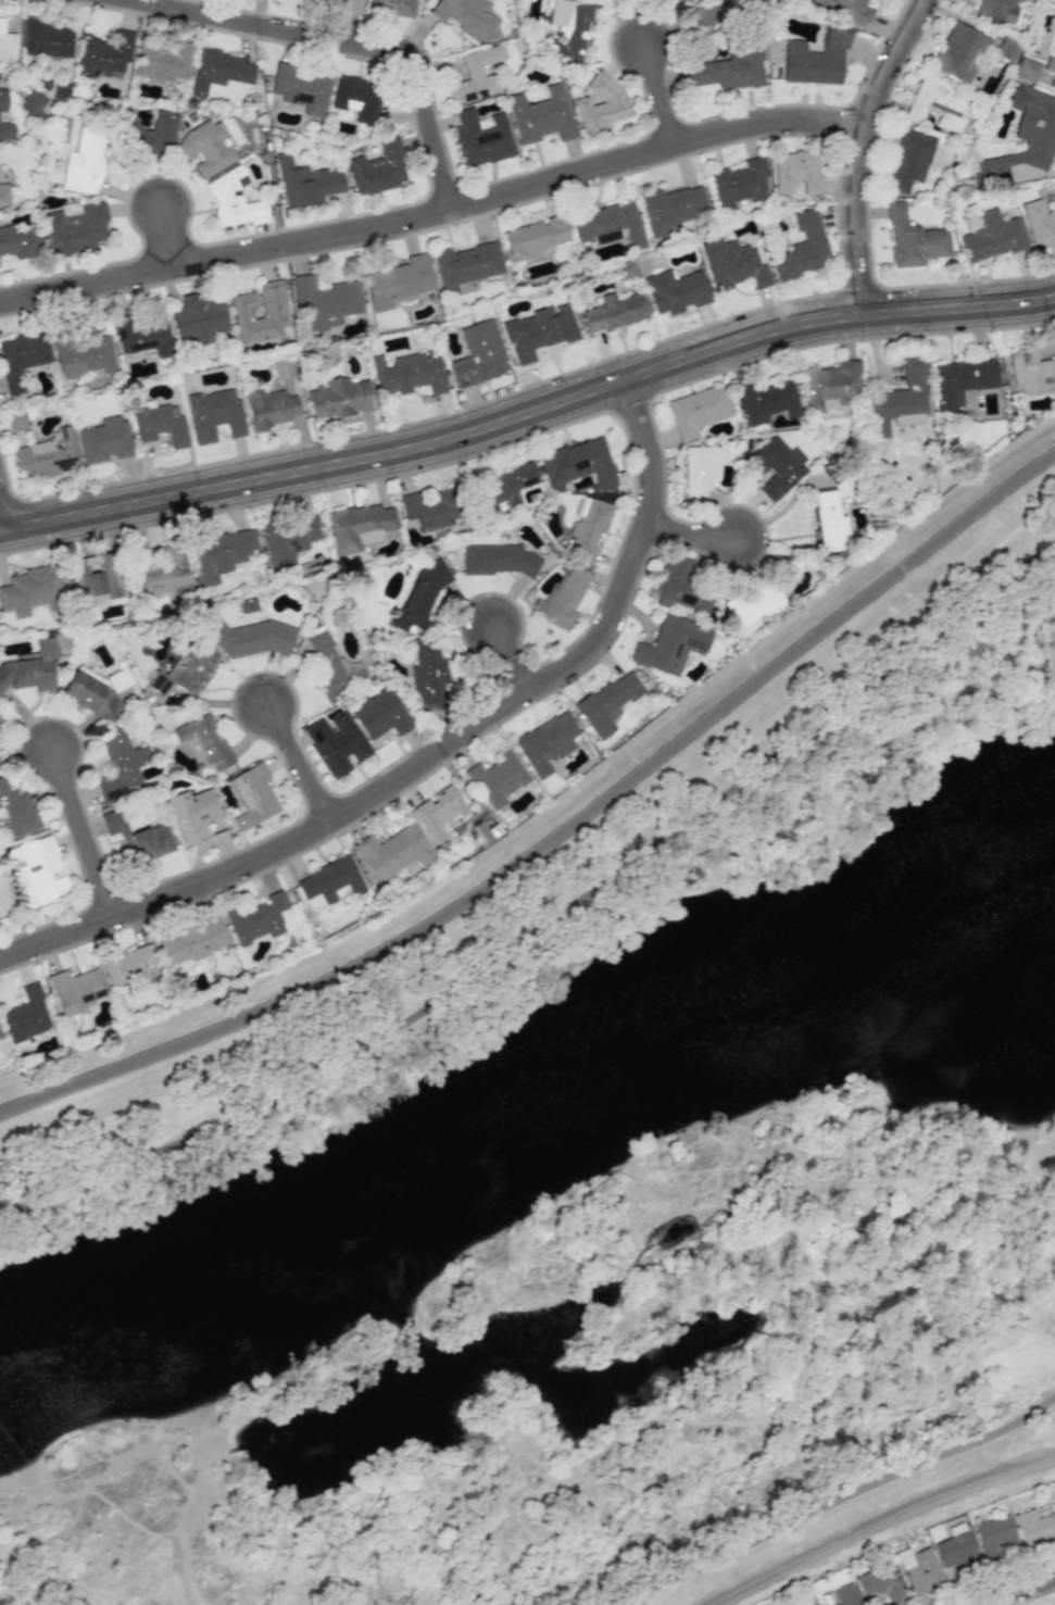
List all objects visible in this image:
building: (340, 3)
building: (393, 7)
building: (997, 9)
building: (844, 10)
building: (715, 12)
building: (465, 16)
building: (569, 27)
building: (1054, 30)
building: (45, 38)
building: (7, 43)
road: (367, 43)
building: (1007, 50)
building: (959, 53)
building: (104, 57)
building: (816, 59)
building: (163, 62)
building: (730, 68)
building: (1028, 70)
building: (1051, 70)
building: (218, 71)
building: (475, 76)
building: (301, 88)
road: (666, 89)
building: (356, 98)
building: (2, 100)
building: (32, 104)
building: (602, 104)
building: (938, 104)
building: (541, 116)
building: (5, 131)
building: (147, 131)
building: (1023, 138)
building: (481, 139)
building: (206, 148)
road: (865, 148)
building: (909, 160)
building: (83, 162)
building: (378, 168)
building: (796, 172)
building: (305, 183)
building: (738, 184)
building: (1053, 190)
building: (4, 196)
building: (234, 199)
building: (671, 208)
road: (437, 215)
building: (1039, 224)
building: (608, 225)
building: (74, 227)
road: (179, 236)
building: (992, 236)
building: (533, 238)
building: (913, 239)
building: (18, 242)
building: (803, 248)
building: (465, 265)
building: (733, 265)
building: (398, 281)
building: (676, 291)
building: (325, 301)
building: (613, 312)
building: (275, 313)
building: (201, 319)
building: (539, 330)
building: (142, 335)
building: (479, 354)
building: (84, 355)
building: (22, 358)
building: (1031, 373)
building: (409, 374)
building: (960, 380)
building: (831, 386)
building: (339, 398)
building: (900, 398)
building: (767, 401)
building: (272, 407)
building: (698, 411)
road: (528, 414)
building: (214, 415)
building: (16, 419)
building: (160, 424)
building: (104, 440)
building: (47, 455)
building: (578, 463)
building: (777, 466)
building: (701, 471)
building: (504, 487)
road: (5, 505)
building: (429, 507)
building: (829, 522)
building: (359, 527)
building: (588, 529)
road: (696, 532)
building: (288, 540)
building: (221, 553)
building: (497, 560)
building: (165, 573)
building: (95, 579)
building: (683, 587)
building: (419, 597)
building: (565, 599)
building: (754, 603)
building: (251, 638)
building: (671, 645)
road: (516, 657)
building: (334, 666)
building: (30, 669)
building: (186, 672)
building: (429, 672)
building: (90, 697)
building: (608, 702)
building: (379, 714)
building: (0, 729)
building: (203, 741)
building: (547, 742)
building: (336, 743)
road: (436, 757)
building: (120, 764)
road: (304, 764)
building: (498, 779)
building: (252, 797)
building: (15, 812)
building: (440, 812)
building: (192, 814)
road: (95, 832)
building: (138, 837)
road: (560, 837)
building: (392, 853)
building: (36, 872)
building: (328, 883)
building: (3, 895)
building: (258, 918)
road: (549, 919)
building: (191, 942)
building: (128, 964)
building: (76, 990)
building: (26, 1015)
building: (0, 1038)
river: (532, 1158)
road: (840, 1499)
building: (1054, 1499)
road: (888, 1527)
building: (1034, 1530)
building: (996, 1537)
building: (957, 1551)
building: (920, 1570)
building: (880, 1584)
road: (1018, 1592)
building: (842, 1596)
building: (806, 1600)

